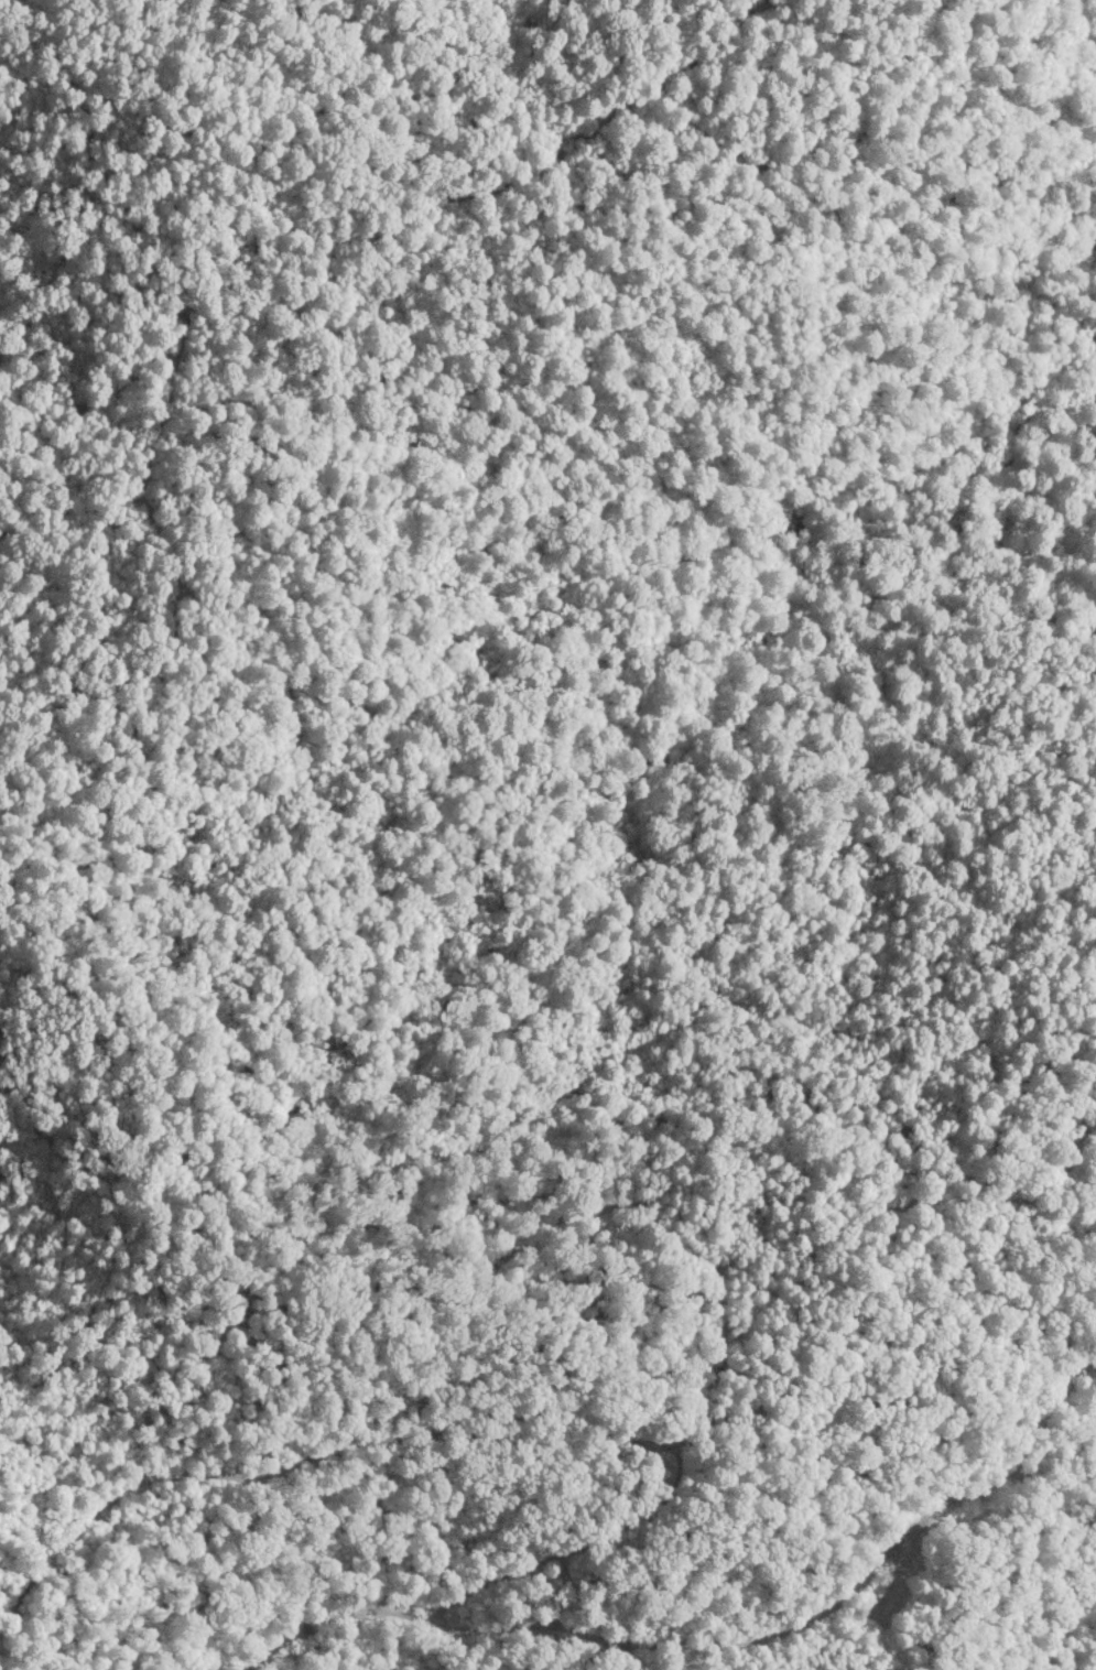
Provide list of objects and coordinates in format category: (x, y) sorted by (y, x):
road: (934, 1461)

